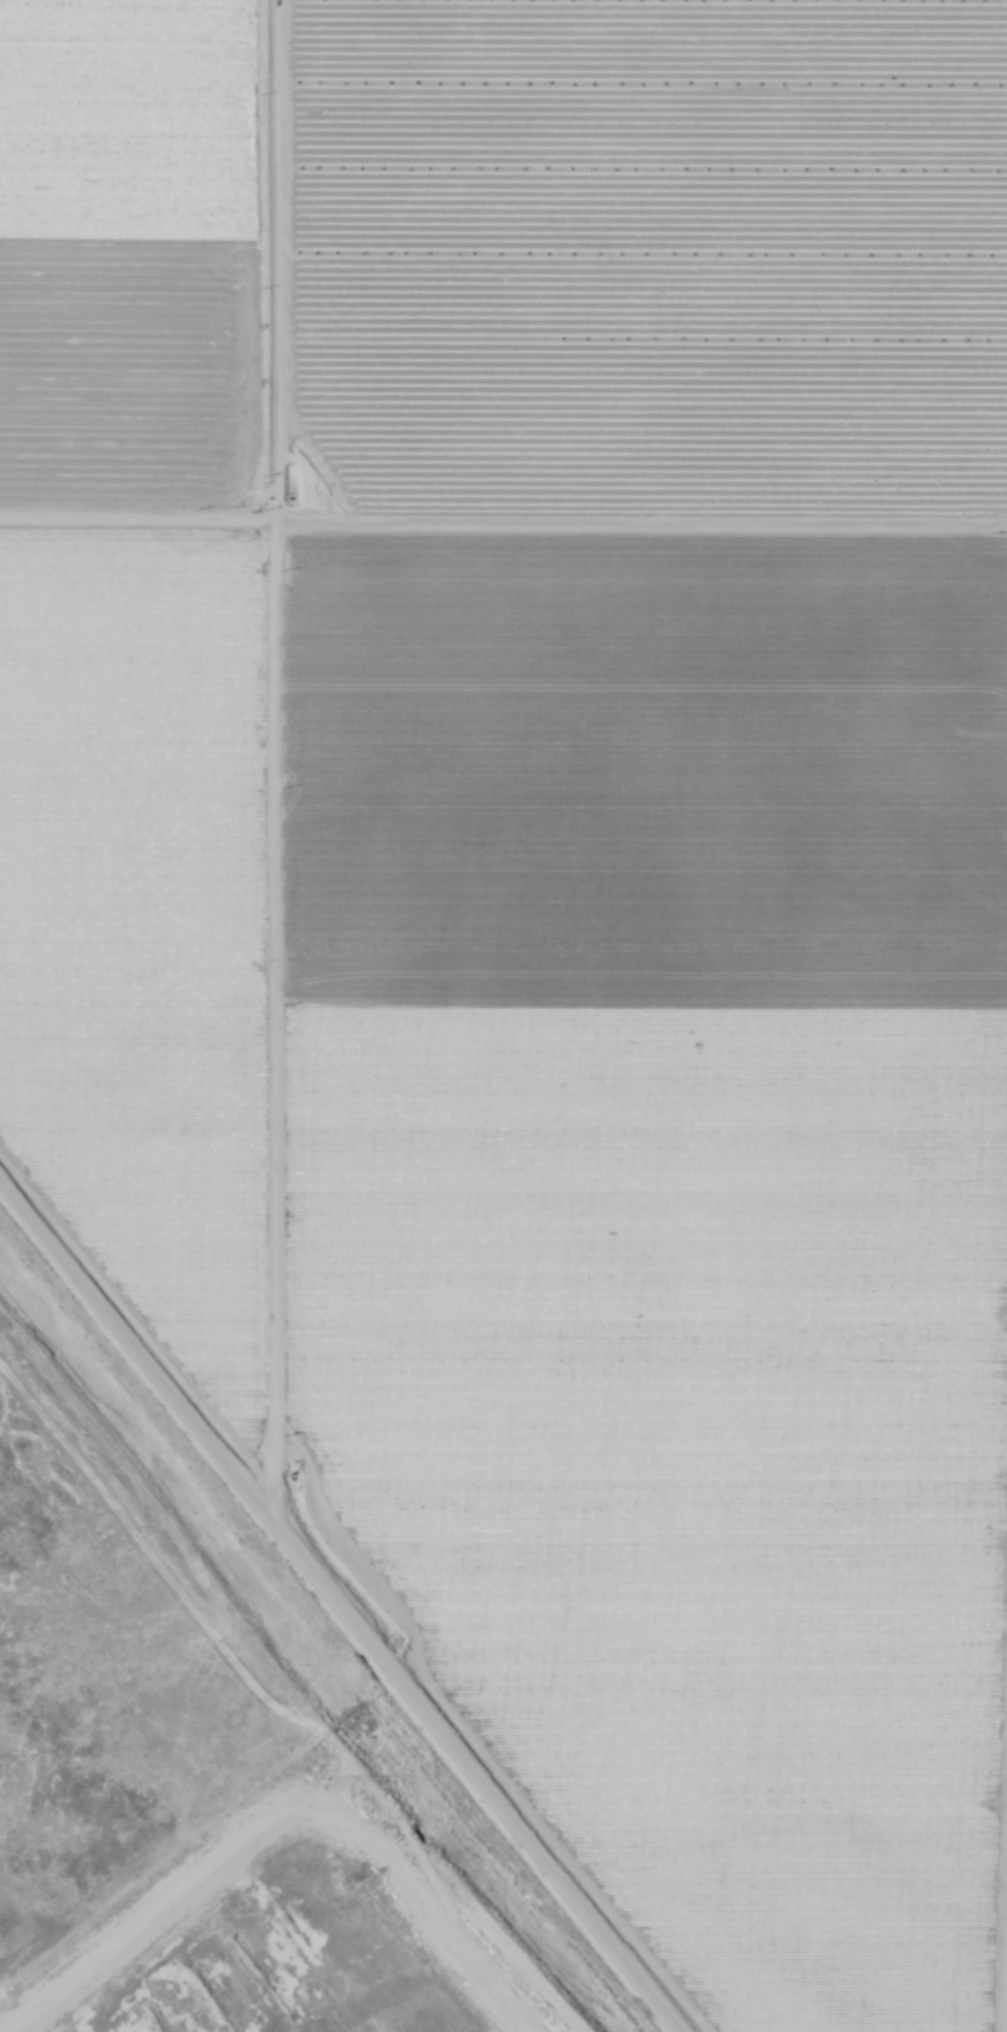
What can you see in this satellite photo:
crop: (502, 260)
road: (270, 761)
crop: (574, 1160)
road: (340, 1606)

